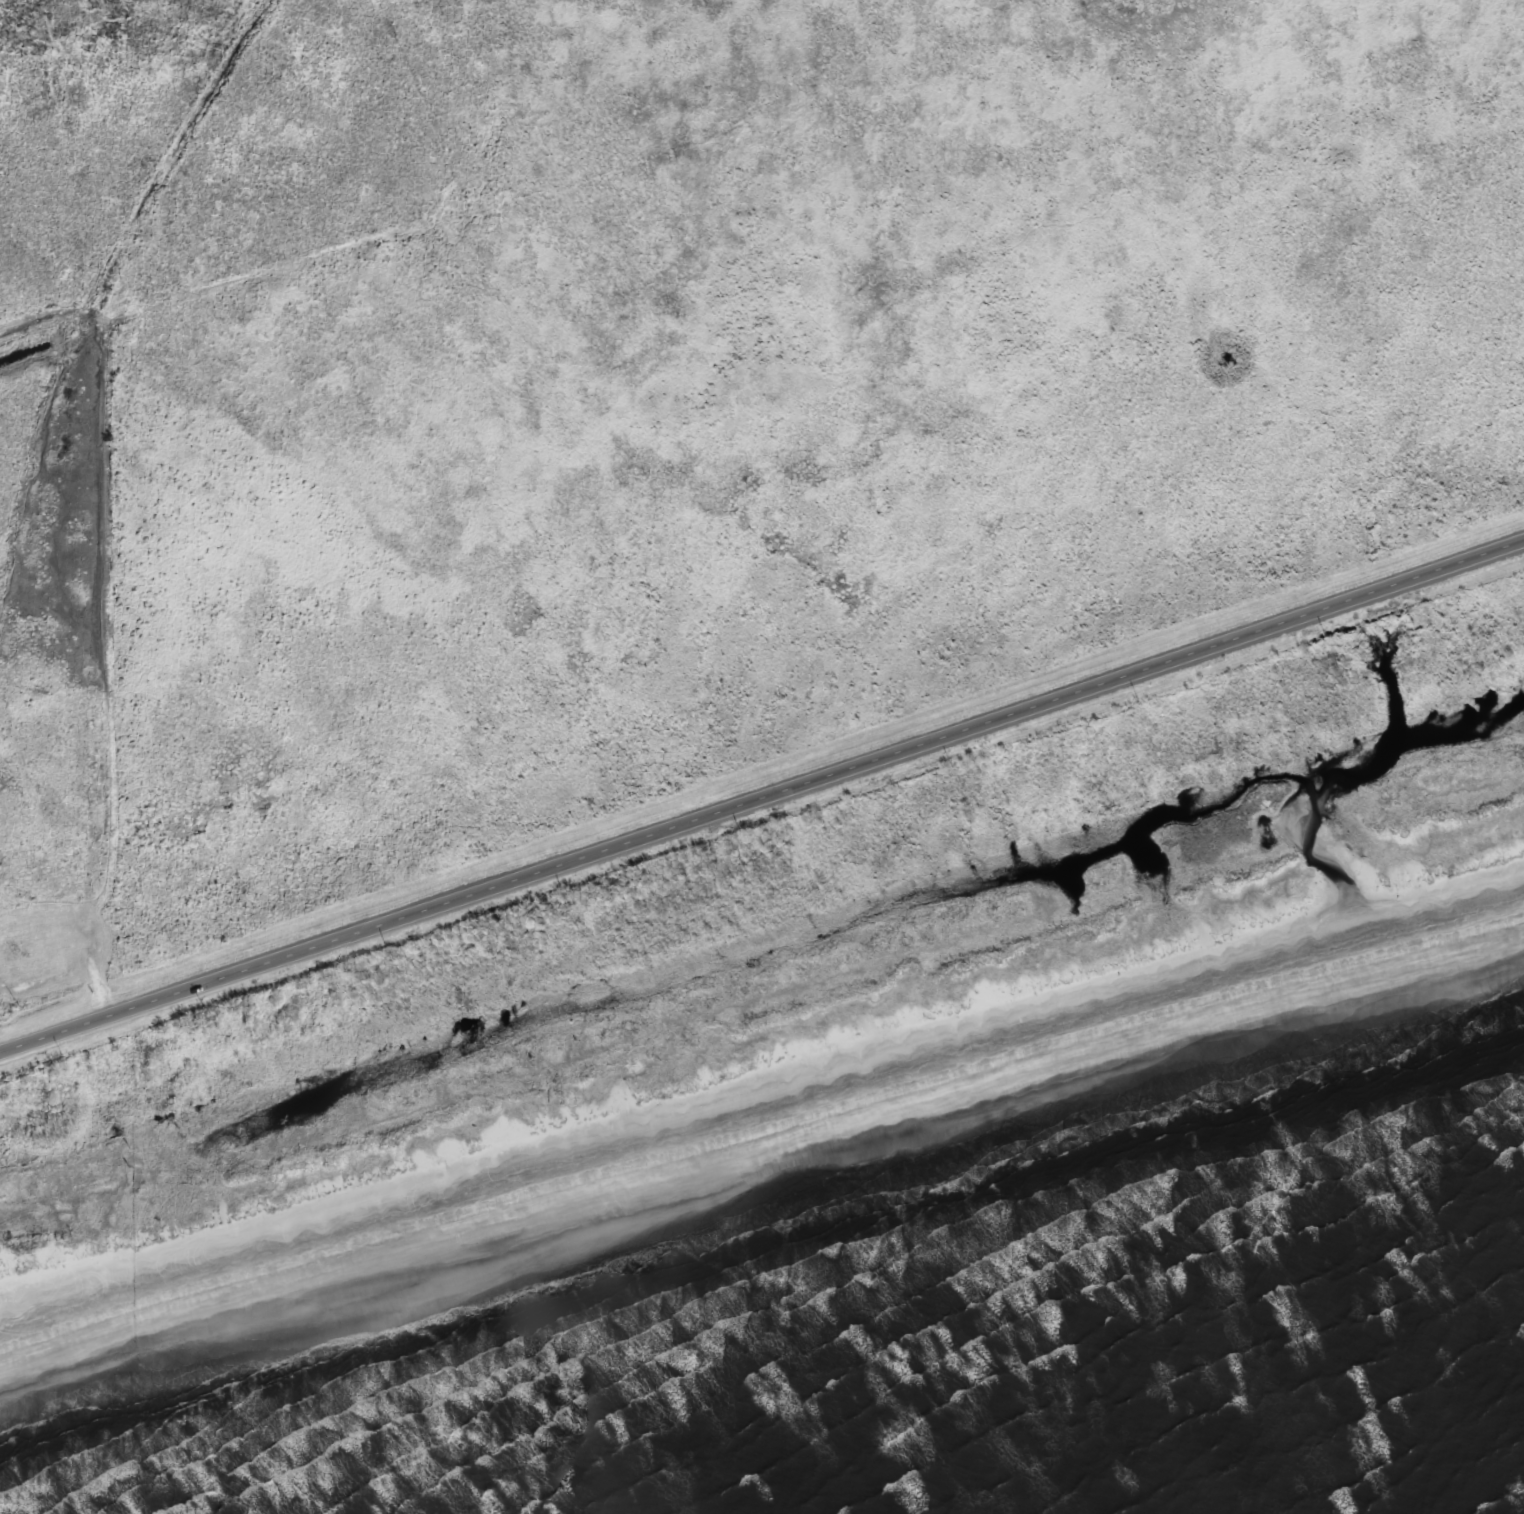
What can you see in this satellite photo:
park: (820, 617)
road: (762, 798)

